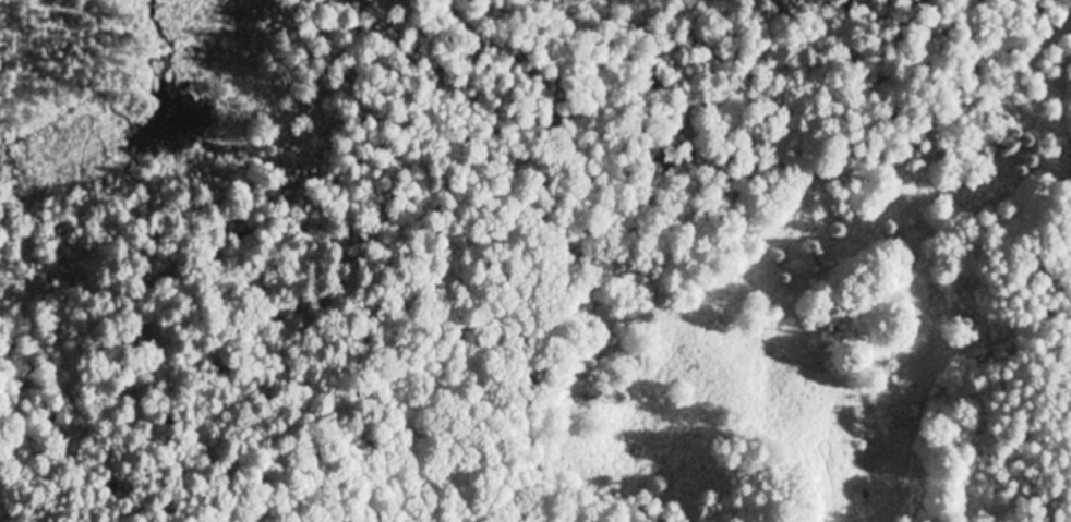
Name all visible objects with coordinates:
road: (869, 171)

